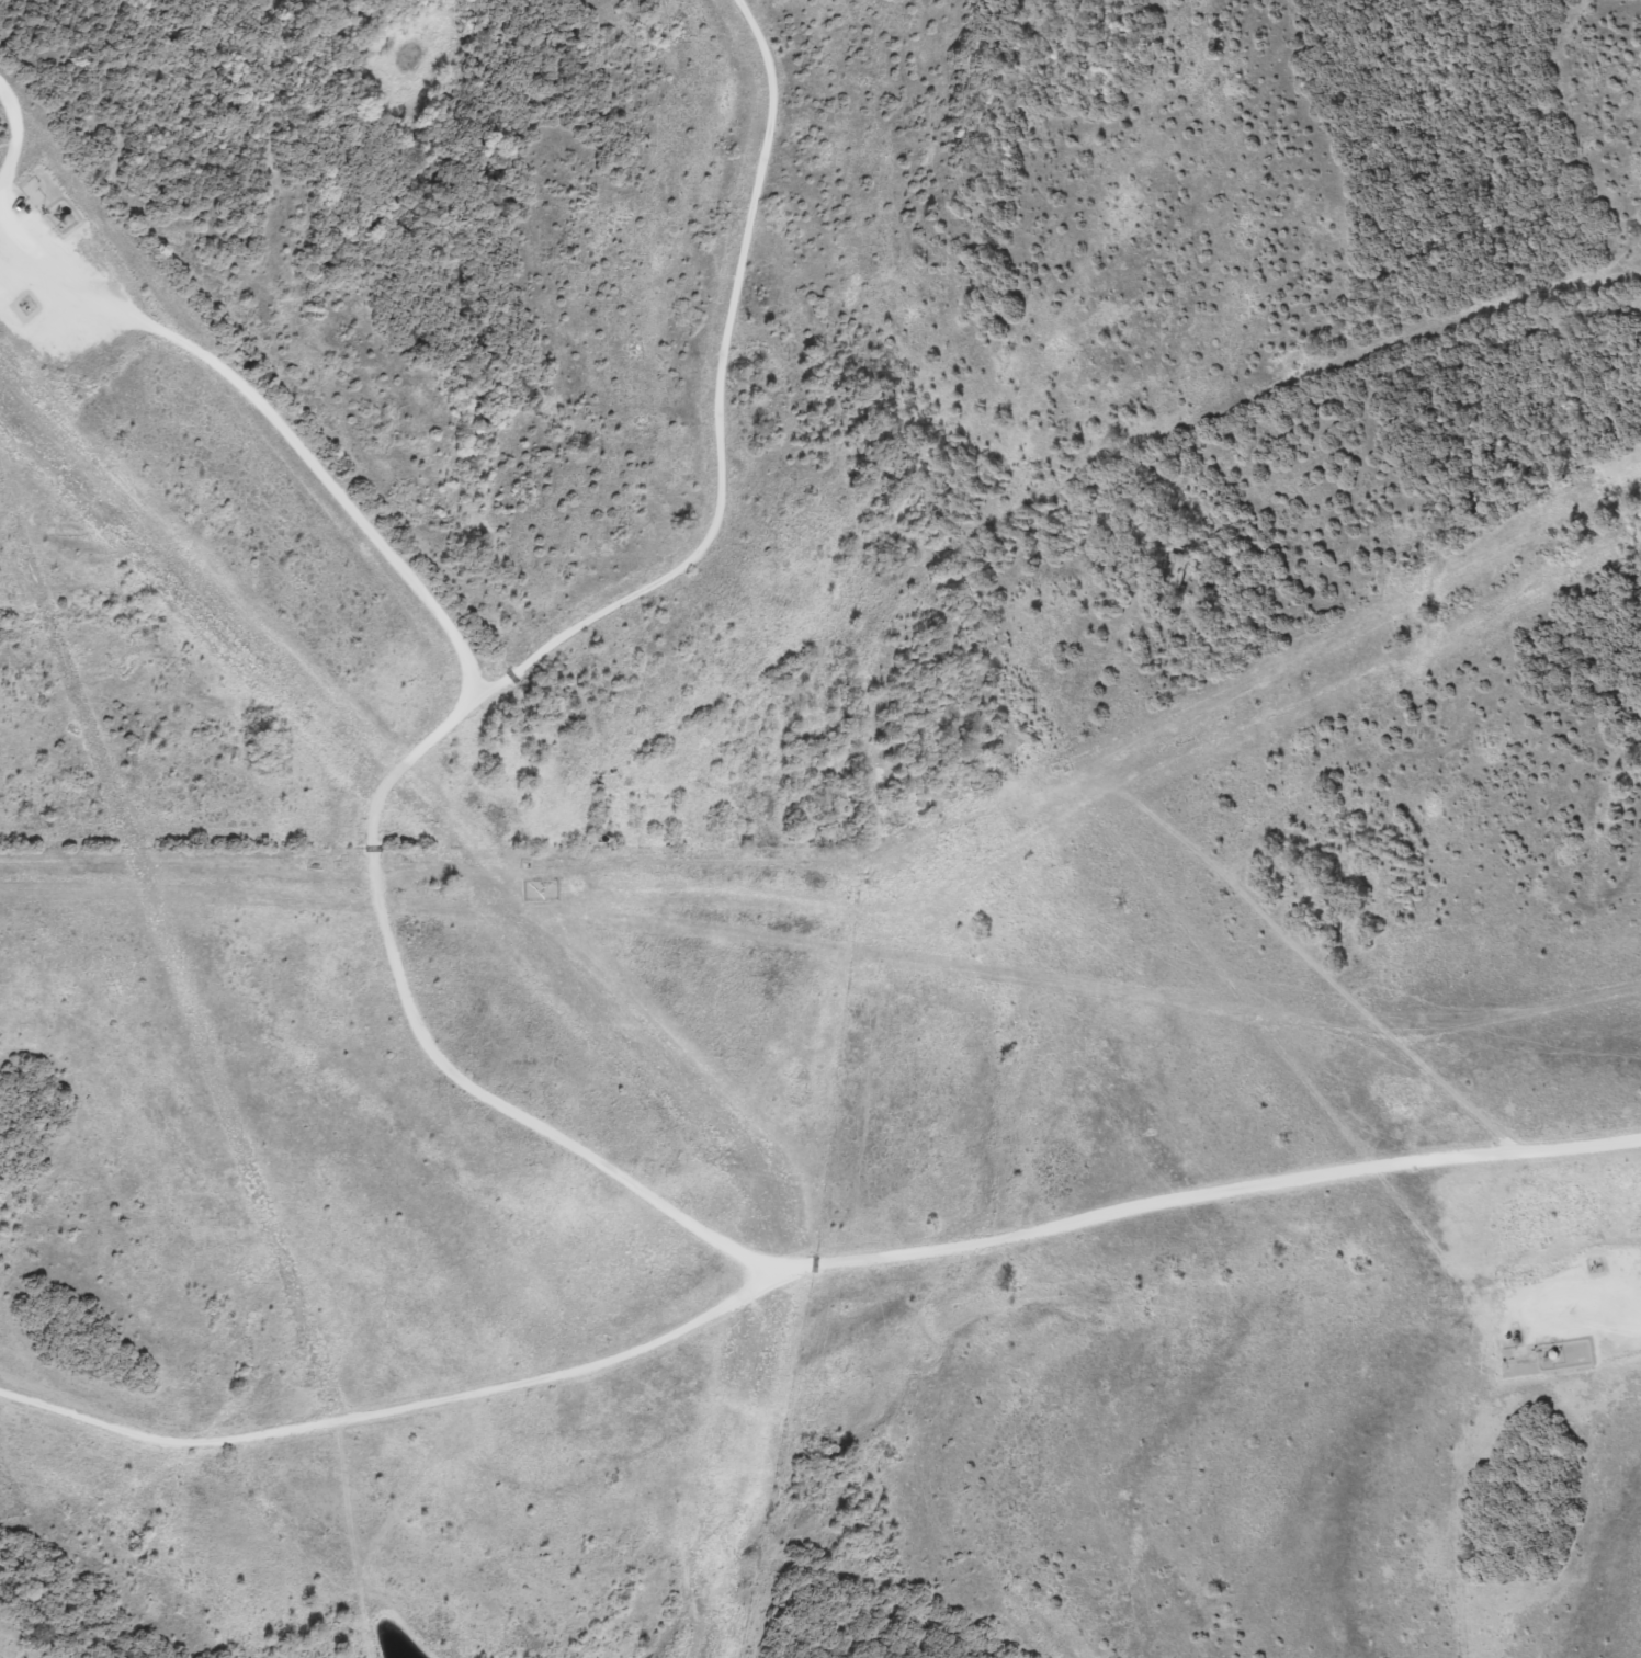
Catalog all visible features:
road: (227, 368)
building: (1175, 572)
road: (485, 685)
road: (805, 1261)

